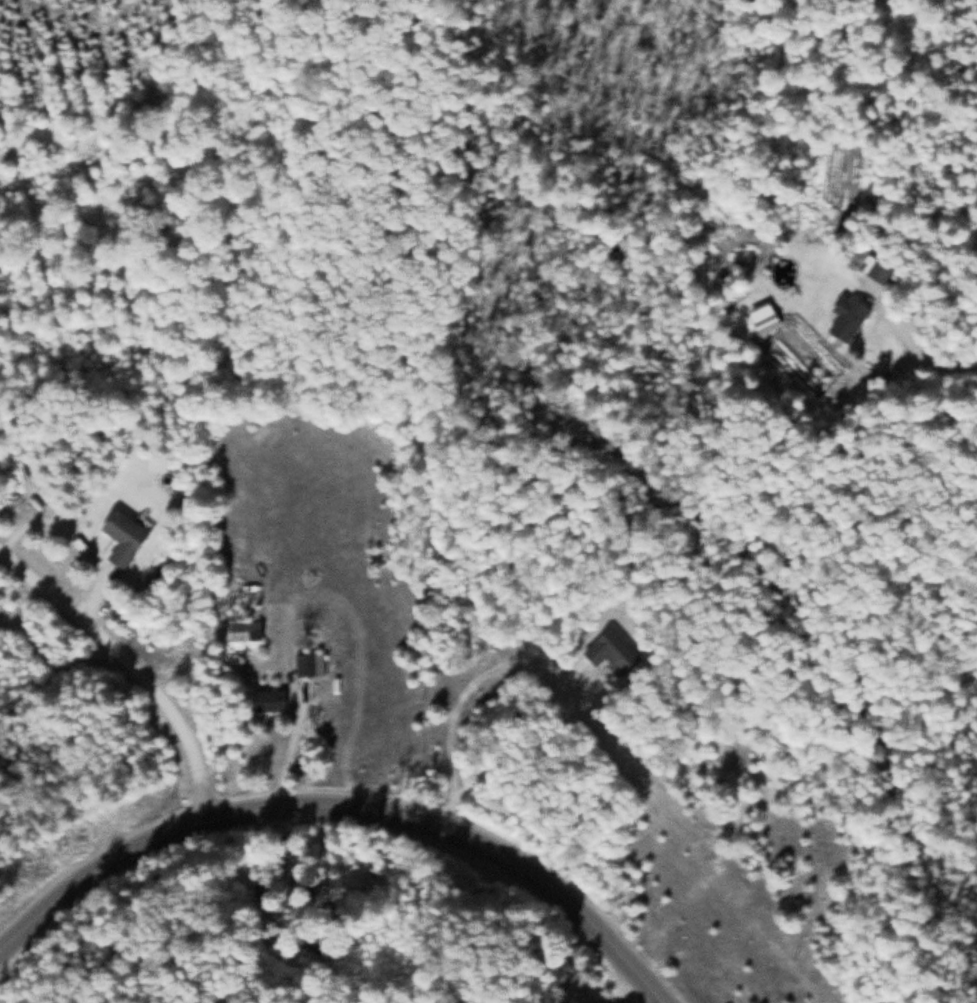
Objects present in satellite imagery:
building: (875, 271)
building: (844, 317)
building: (763, 323)
building: (130, 537)
building: (251, 629)
building: (606, 648)
building: (307, 664)
road: (134, 665)
building: (274, 699)
road: (341, 809)
building: (591, 990)

